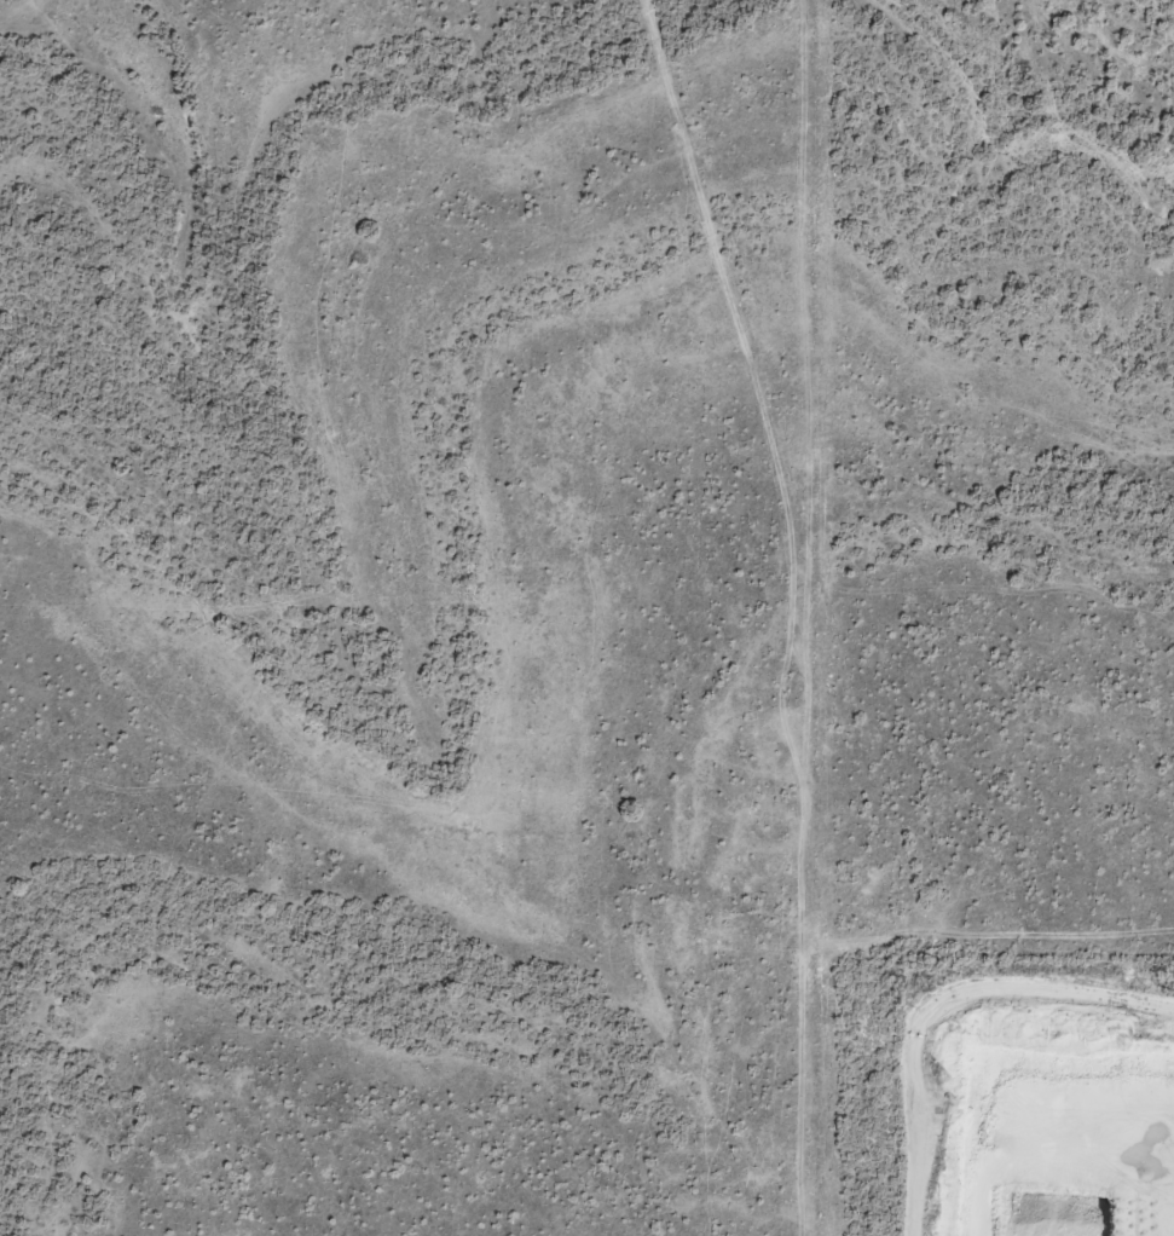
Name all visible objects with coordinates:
road: (935, 1120)

